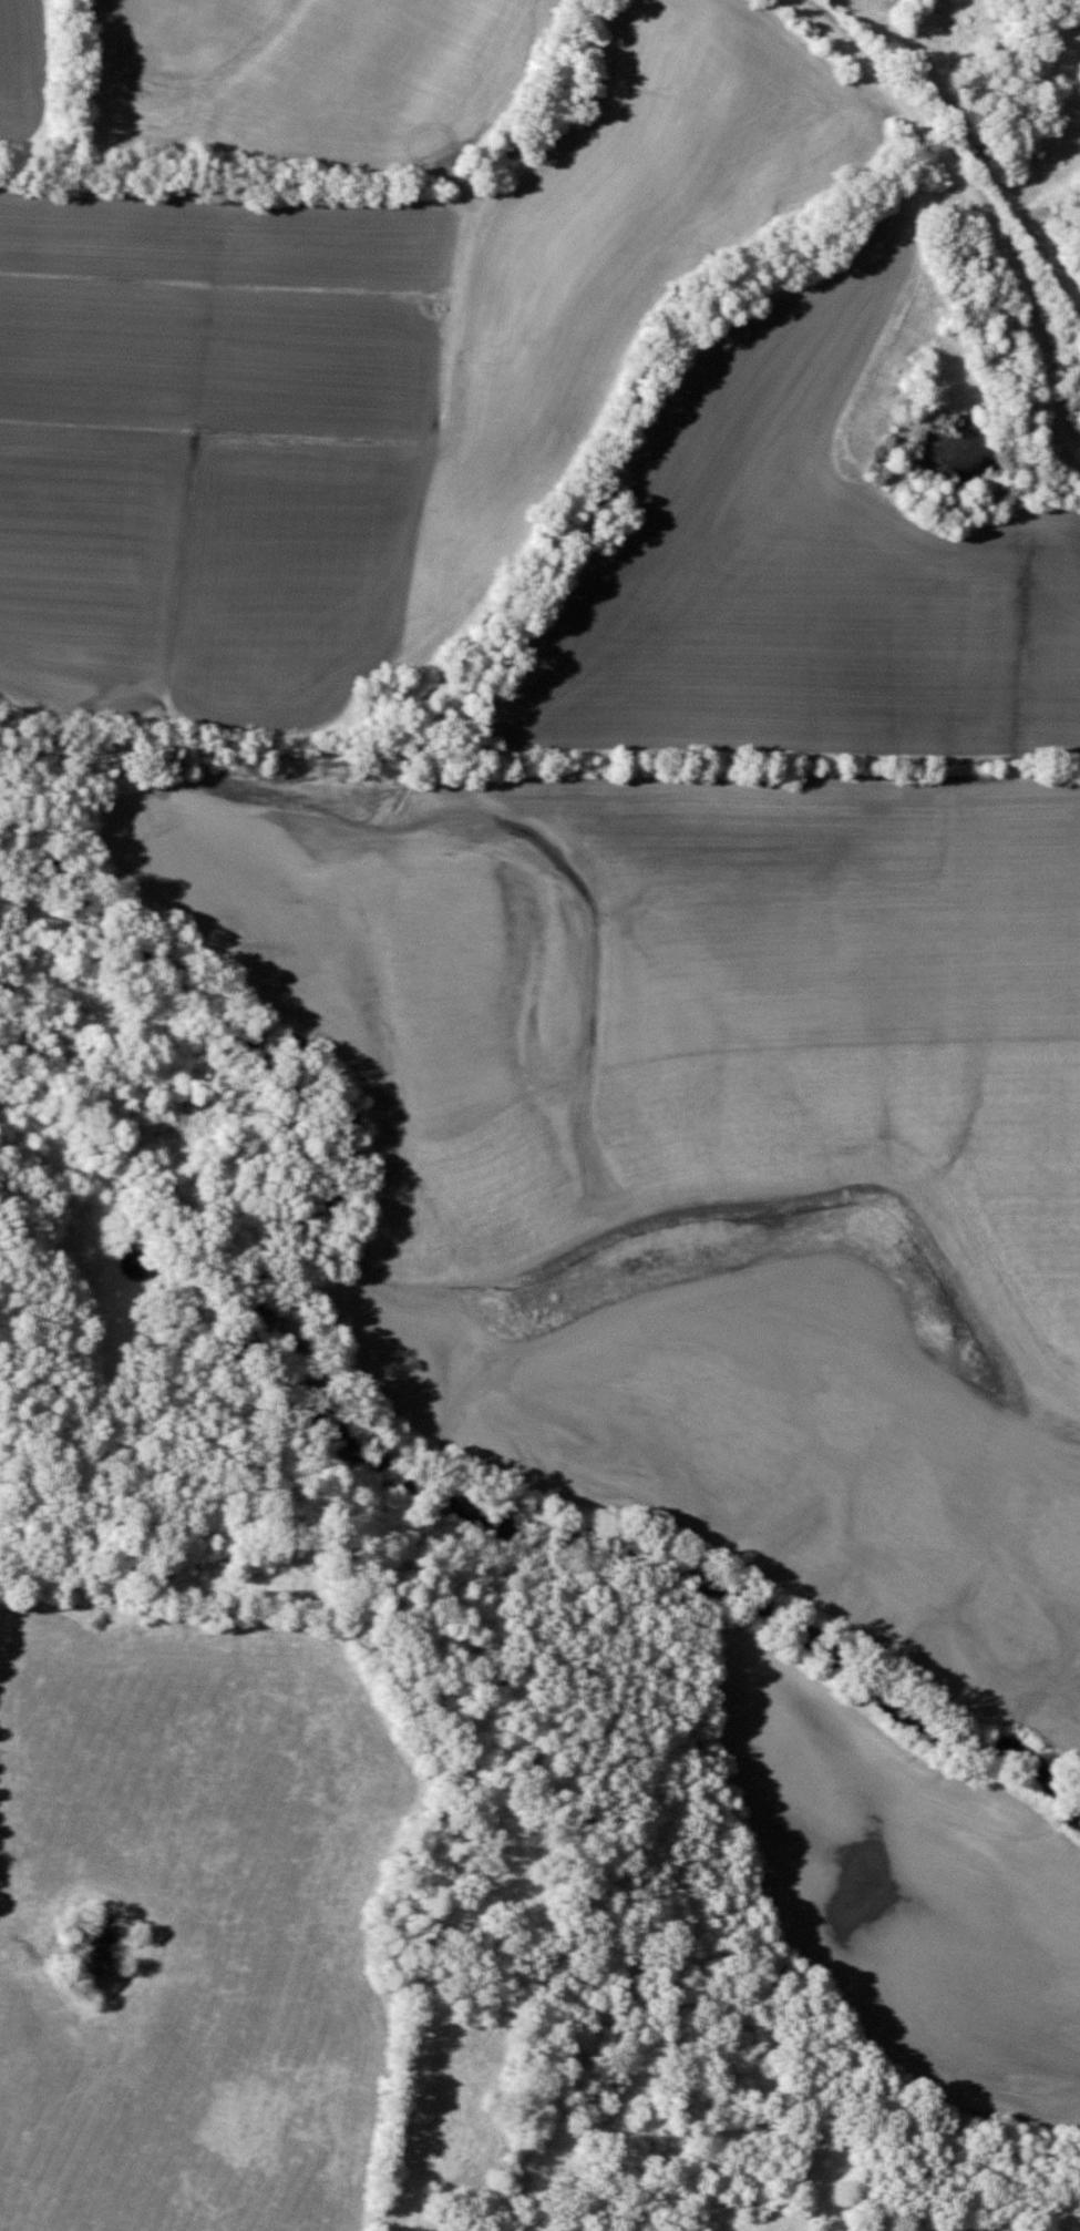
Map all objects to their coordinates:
road: (978, 205)

